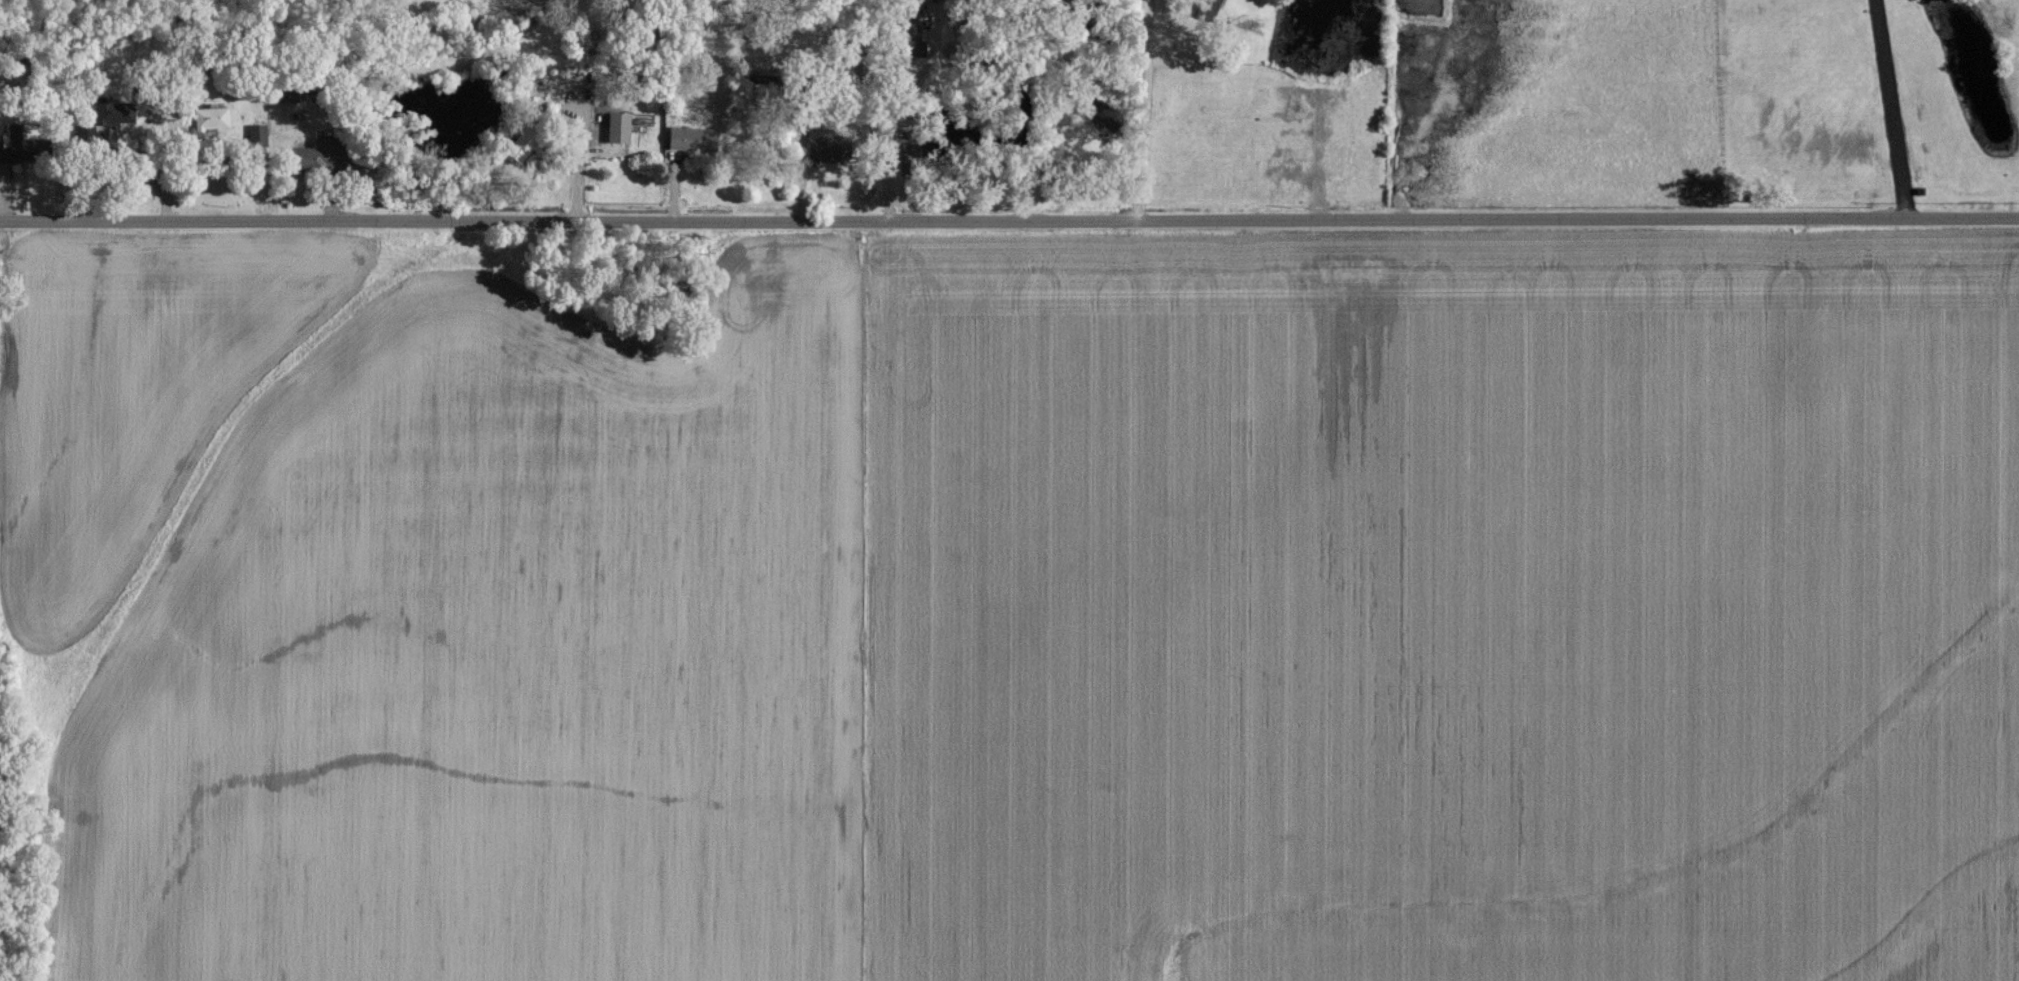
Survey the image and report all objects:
building: (1207, 11)
road: (1892, 108)
building: (114, 111)
road: (1146, 112)
road: (900, 115)
building: (213, 118)
building: (621, 127)
building: (258, 132)
building: (695, 138)
building: (13, 143)
building: (826, 146)
building: (321, 154)
road: (1009, 222)

